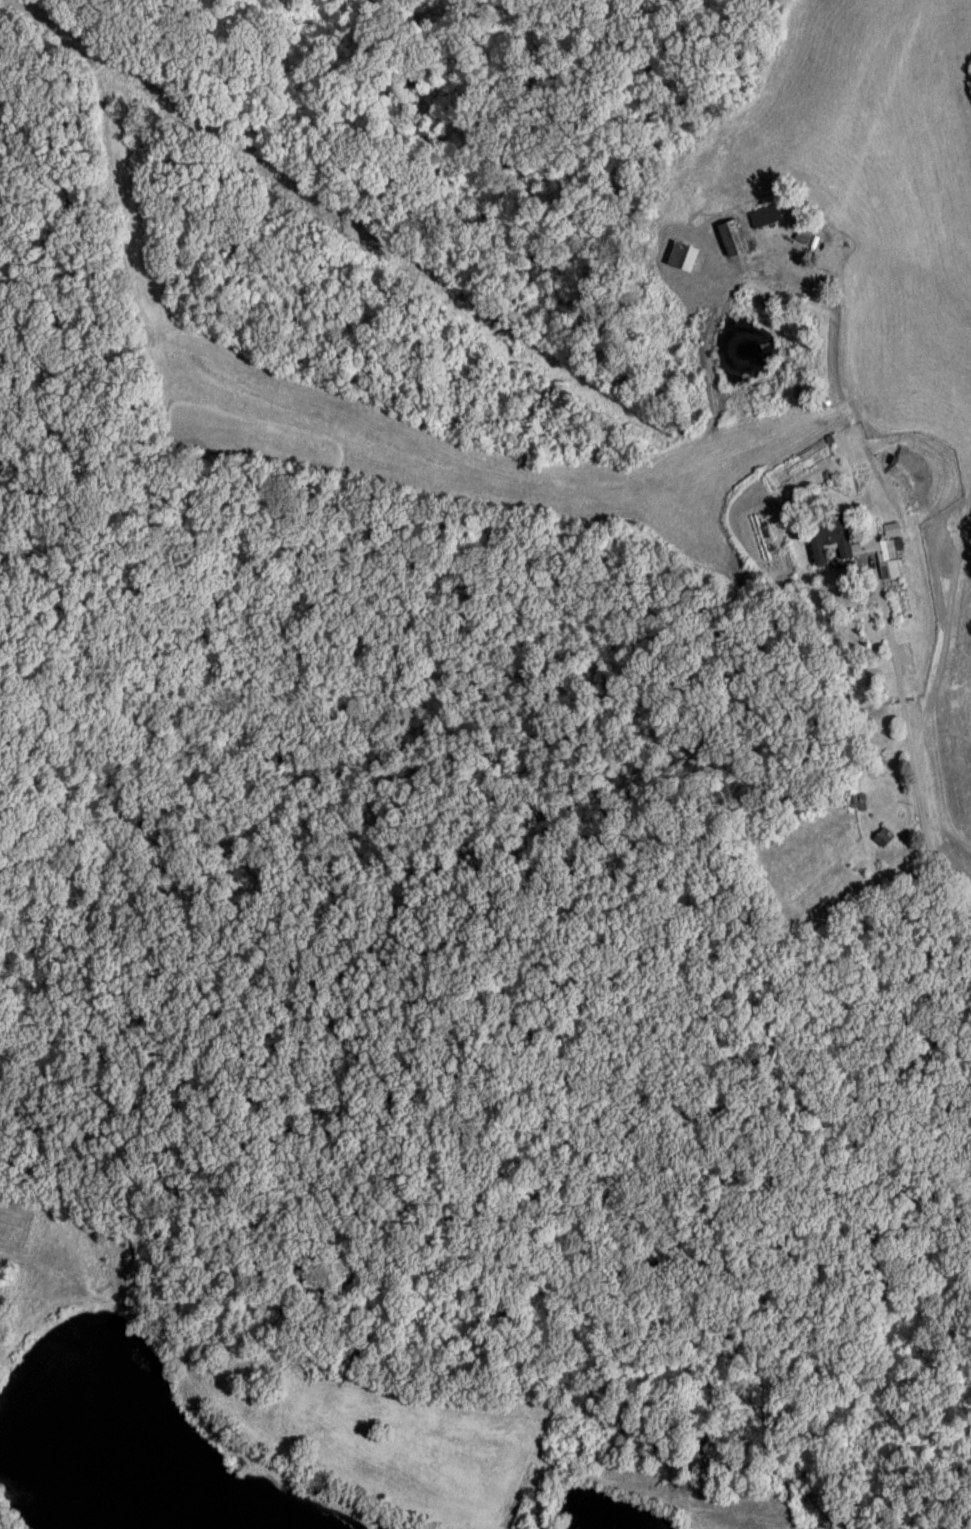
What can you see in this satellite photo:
building: (735, 240)
building: (685, 258)
building: (893, 554)
road: (863, 586)
building: (819, 617)
building: (858, 803)

